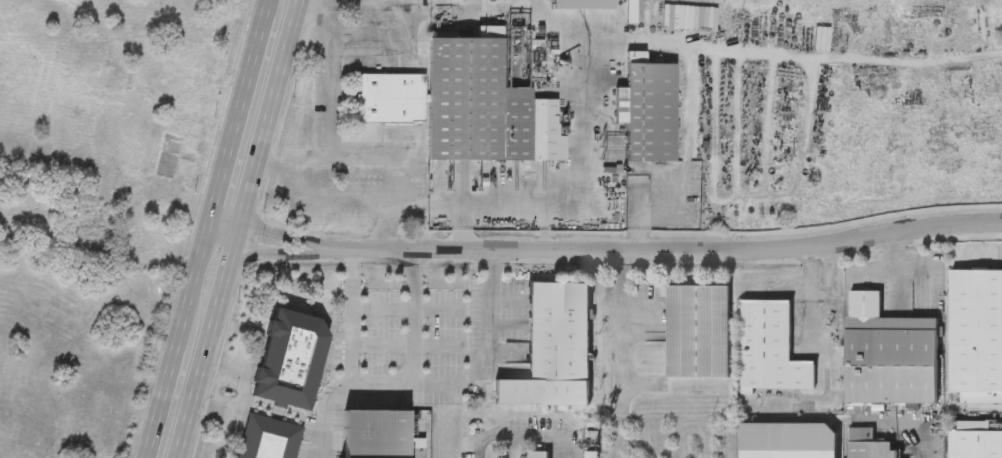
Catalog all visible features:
building: (821, 37)
road: (666, 43)
building: (391, 96)
building: (484, 105)
road: (249, 108)
building: (648, 109)
road: (278, 112)
road: (330, 122)
road: (311, 163)
road: (340, 201)
road: (428, 205)
road: (502, 209)
road: (234, 220)
road: (286, 234)
road: (268, 250)
road: (663, 254)
road: (898, 265)
road: (877, 267)
road: (204, 271)
road: (233, 279)
road: (493, 312)
building: (698, 329)
building: (976, 333)
building: (553, 346)
building: (771, 346)
road: (325, 349)
building: (887, 352)
building: (290, 357)
road: (412, 361)
road: (171, 392)
road: (200, 396)
building: (593, 422)
road: (540, 433)
building: (379, 434)
building: (594, 434)
building: (267, 437)
road: (491, 438)
building: (975, 438)
road: (924, 439)
building: (870, 446)
building: (785, 450)
building: (539, 453)
building: (592, 454)

